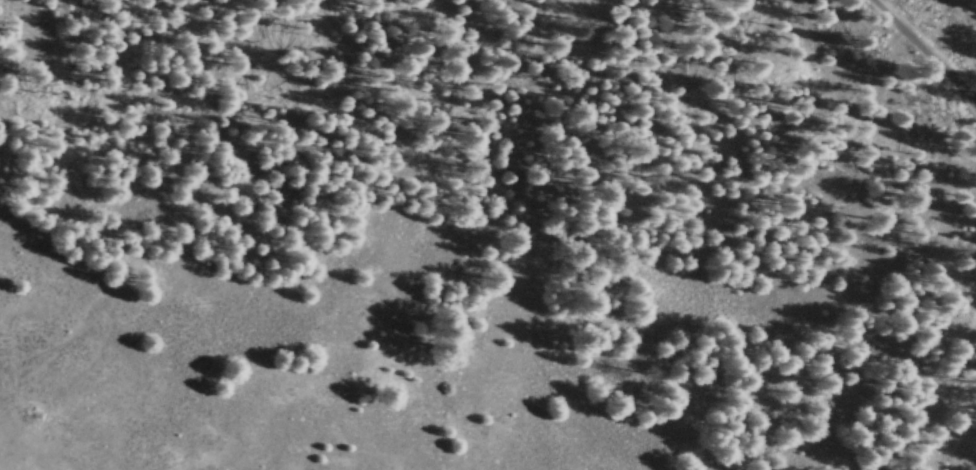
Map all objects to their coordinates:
road: (926, 49)

